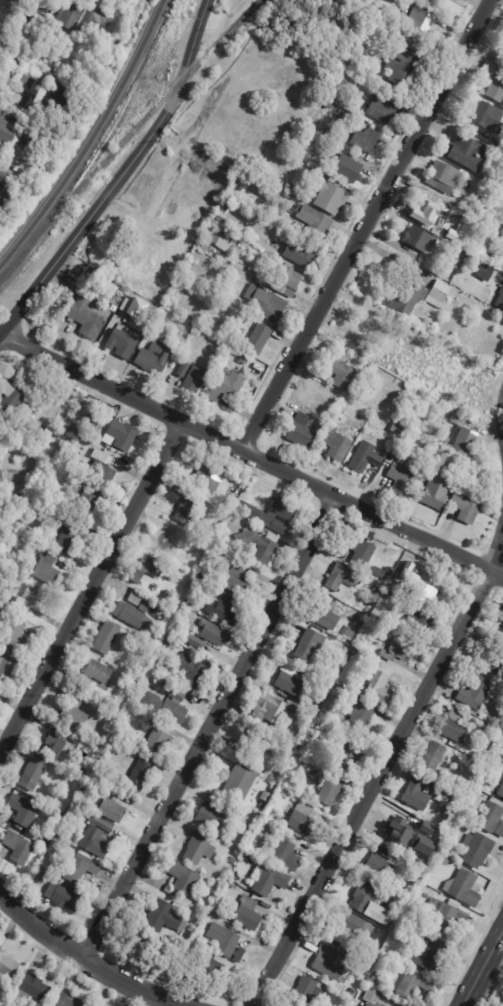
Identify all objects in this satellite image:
building: (13, 0)
building: (430, 1)
building: (40, 9)
building: (72, 16)
building: (421, 19)
building: (97, 28)
building: (89, 54)
building: (502, 56)
building: (51, 60)
building: (403, 63)
building: (2, 64)
building: (14, 69)
building: (81, 71)
building: (18, 85)
building: (494, 88)
building: (3, 92)
building: (55, 95)
building: (406, 97)
building: (0, 103)
building: (383, 110)
building: (487, 117)
building: (8, 129)
railway: (126, 138)
railway: (91, 139)
building: (367, 140)
building: (34, 143)
building: (464, 154)
building: (304, 157)
building: (501, 158)
building: (348, 169)
road: (121, 176)
building: (440, 176)
building: (290, 186)
building: (481, 191)
building: (331, 196)
building: (262, 205)
building: (227, 206)
building: (428, 209)
building: (222, 218)
building: (315, 223)
building: (468, 223)
road: (363, 225)
building: (417, 241)
building: (225, 244)
building: (302, 253)
building: (219, 267)
building: (259, 267)
building: (482, 272)
building: (189, 273)
building: (287, 280)
building: (186, 285)
building: (435, 294)
building: (404, 296)
building: (499, 301)
building: (267, 303)
building: (131, 307)
building: (89, 313)
building: (423, 328)
building: (381, 338)
building: (260, 339)
building: (406, 339)
building: (124, 344)
building: (156, 357)
building: (244, 360)
building: (419, 364)
building: (185, 368)
building: (335, 373)
building: (197, 378)
building: (230, 383)
building: (369, 386)
building: (12, 396)
building: (212, 396)
building: (114, 413)
building: (95, 414)
building: (110, 420)
building: (91, 427)
building: (393, 429)
building: (296, 432)
building: (58, 434)
building: (122, 435)
building: (460, 437)
building: (400, 441)
building: (333, 444)
building: (392, 454)
road: (251, 455)
building: (363, 459)
building: (434, 459)
building: (102, 466)
building: (2, 477)
building: (398, 478)
building: (207, 481)
building: (433, 495)
building: (91, 498)
building: (230, 503)
building: (189, 508)
building: (461, 509)
building: (275, 515)
building: (233, 518)
building: (69, 534)
building: (166, 539)
building: (260, 545)
building: (219, 551)
building: (362, 551)
building: (180, 558)
building: (14, 560)
building: (48, 569)
building: (148, 569)
building: (257, 571)
building: (383, 572)
building: (343, 577)
building: (239, 580)
building: (201, 581)
building: (425, 582)
building: (382, 585)
road: (91, 586)
building: (219, 589)
building: (376, 592)
building: (389, 593)
building: (167, 596)
building: (34, 598)
building: (140, 602)
building: (372, 602)
building: (190, 603)
building: (226, 610)
building: (328, 614)
building: (133, 616)
building: (5, 620)
building: (419, 621)
building: (355, 623)
building: (372, 624)
building: (17, 625)
building: (501, 631)
building: (214, 633)
building: (352, 633)
building: (502, 637)
building: (108, 638)
building: (15, 641)
building: (197, 642)
building: (166, 644)
building: (310, 646)
building: (401, 649)
building: (341, 655)
building: (498, 663)
building: (165, 668)
building: (8, 670)
building: (348, 670)
building: (191, 671)
building: (96, 674)
building: (291, 679)
building: (328, 684)
building: (377, 686)
building: (480, 693)
building: (331, 701)
building: (169, 705)
building: (272, 710)
building: (76, 712)
building: (360, 714)
building: (455, 726)
road: (211, 729)
building: (332, 731)
building: (157, 737)
building: (295, 740)
building: (57, 742)
building: (253, 743)
building: (348, 754)
building: (436, 755)
building: (302, 756)
road: (384, 764)
building: (35, 773)
building: (141, 774)
building: (317, 776)
building: (242, 782)
building: (268, 786)
building: (110, 790)
building: (331, 792)
building: (501, 792)
building: (417, 794)
building: (215, 802)
building: (24, 810)
building: (113, 810)
building: (451, 811)
building: (212, 817)
building: (302, 819)
building: (492, 819)
building: (102, 823)
building: (402, 827)
building: (428, 830)
building: (280, 831)
building: (97, 842)
building: (20, 848)
building: (201, 848)
building: (478, 850)
building: (238, 852)
building: (287, 854)
building: (247, 856)
building: (232, 860)
building: (444, 860)
building: (383, 862)
building: (81, 869)
building: (41, 876)
building: (53, 877)
building: (184, 877)
building: (270, 882)
building: (466, 888)
building: (66, 897)
building: (197, 897)
building: (372, 905)
building: (401, 908)
building: (248, 913)
building: (415, 914)
building: (445, 914)
building: (165, 916)
building: (353, 932)
building: (421, 934)
building: (405, 938)
building: (227, 943)
building: (373, 957)
building: (430, 958)
building: (331, 963)
building: (8, 965)
road: (85, 965)
building: (357, 965)
building: (209, 967)
road: (481, 967)
building: (373, 979)
building: (413, 986)
building: (33, 987)
building: (310, 991)
building: (353, 992)
building: (370, 997)
building: (70, 1001)
park: (500, 1001)
building: (346, 1003)
building: (377, 1005)

